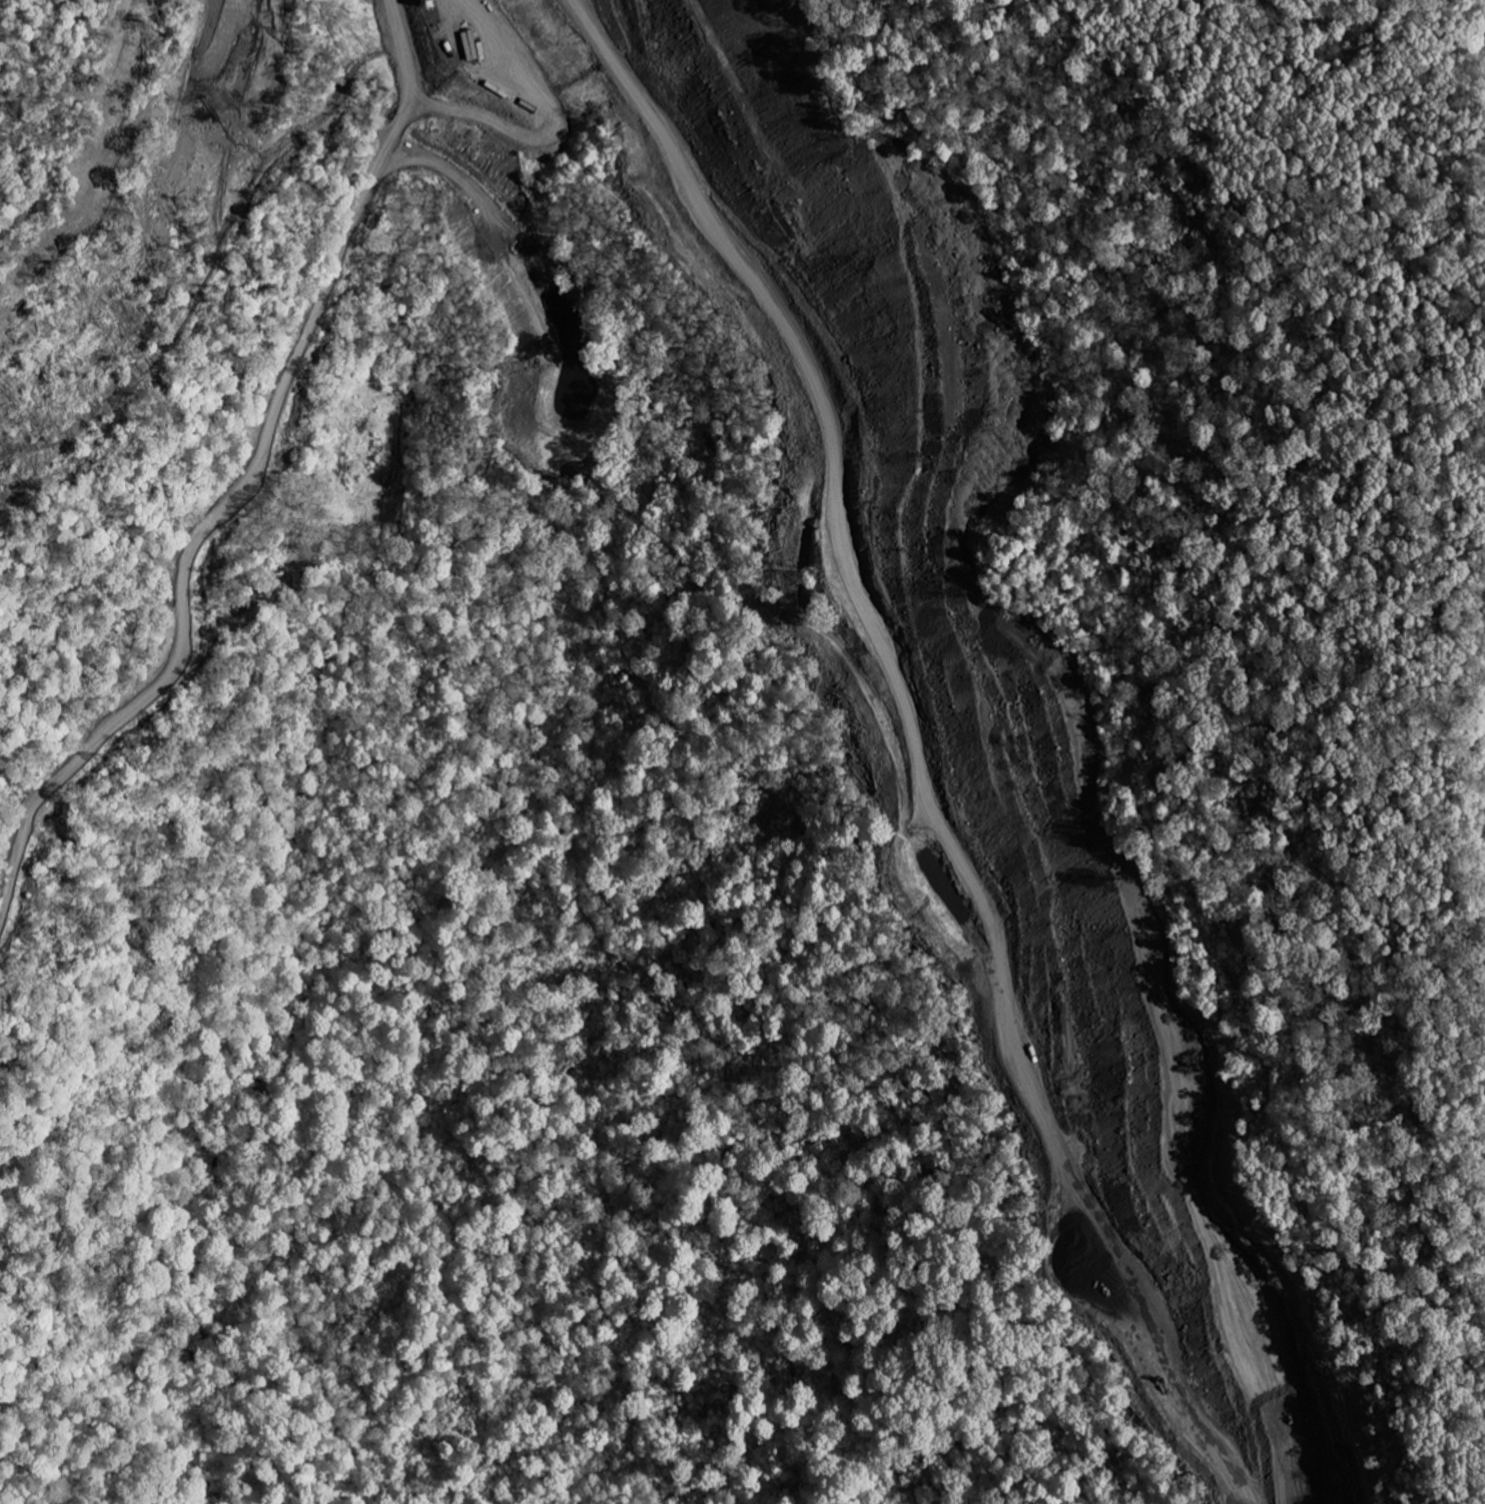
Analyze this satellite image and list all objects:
road: (742, 14)
road: (289, 507)

